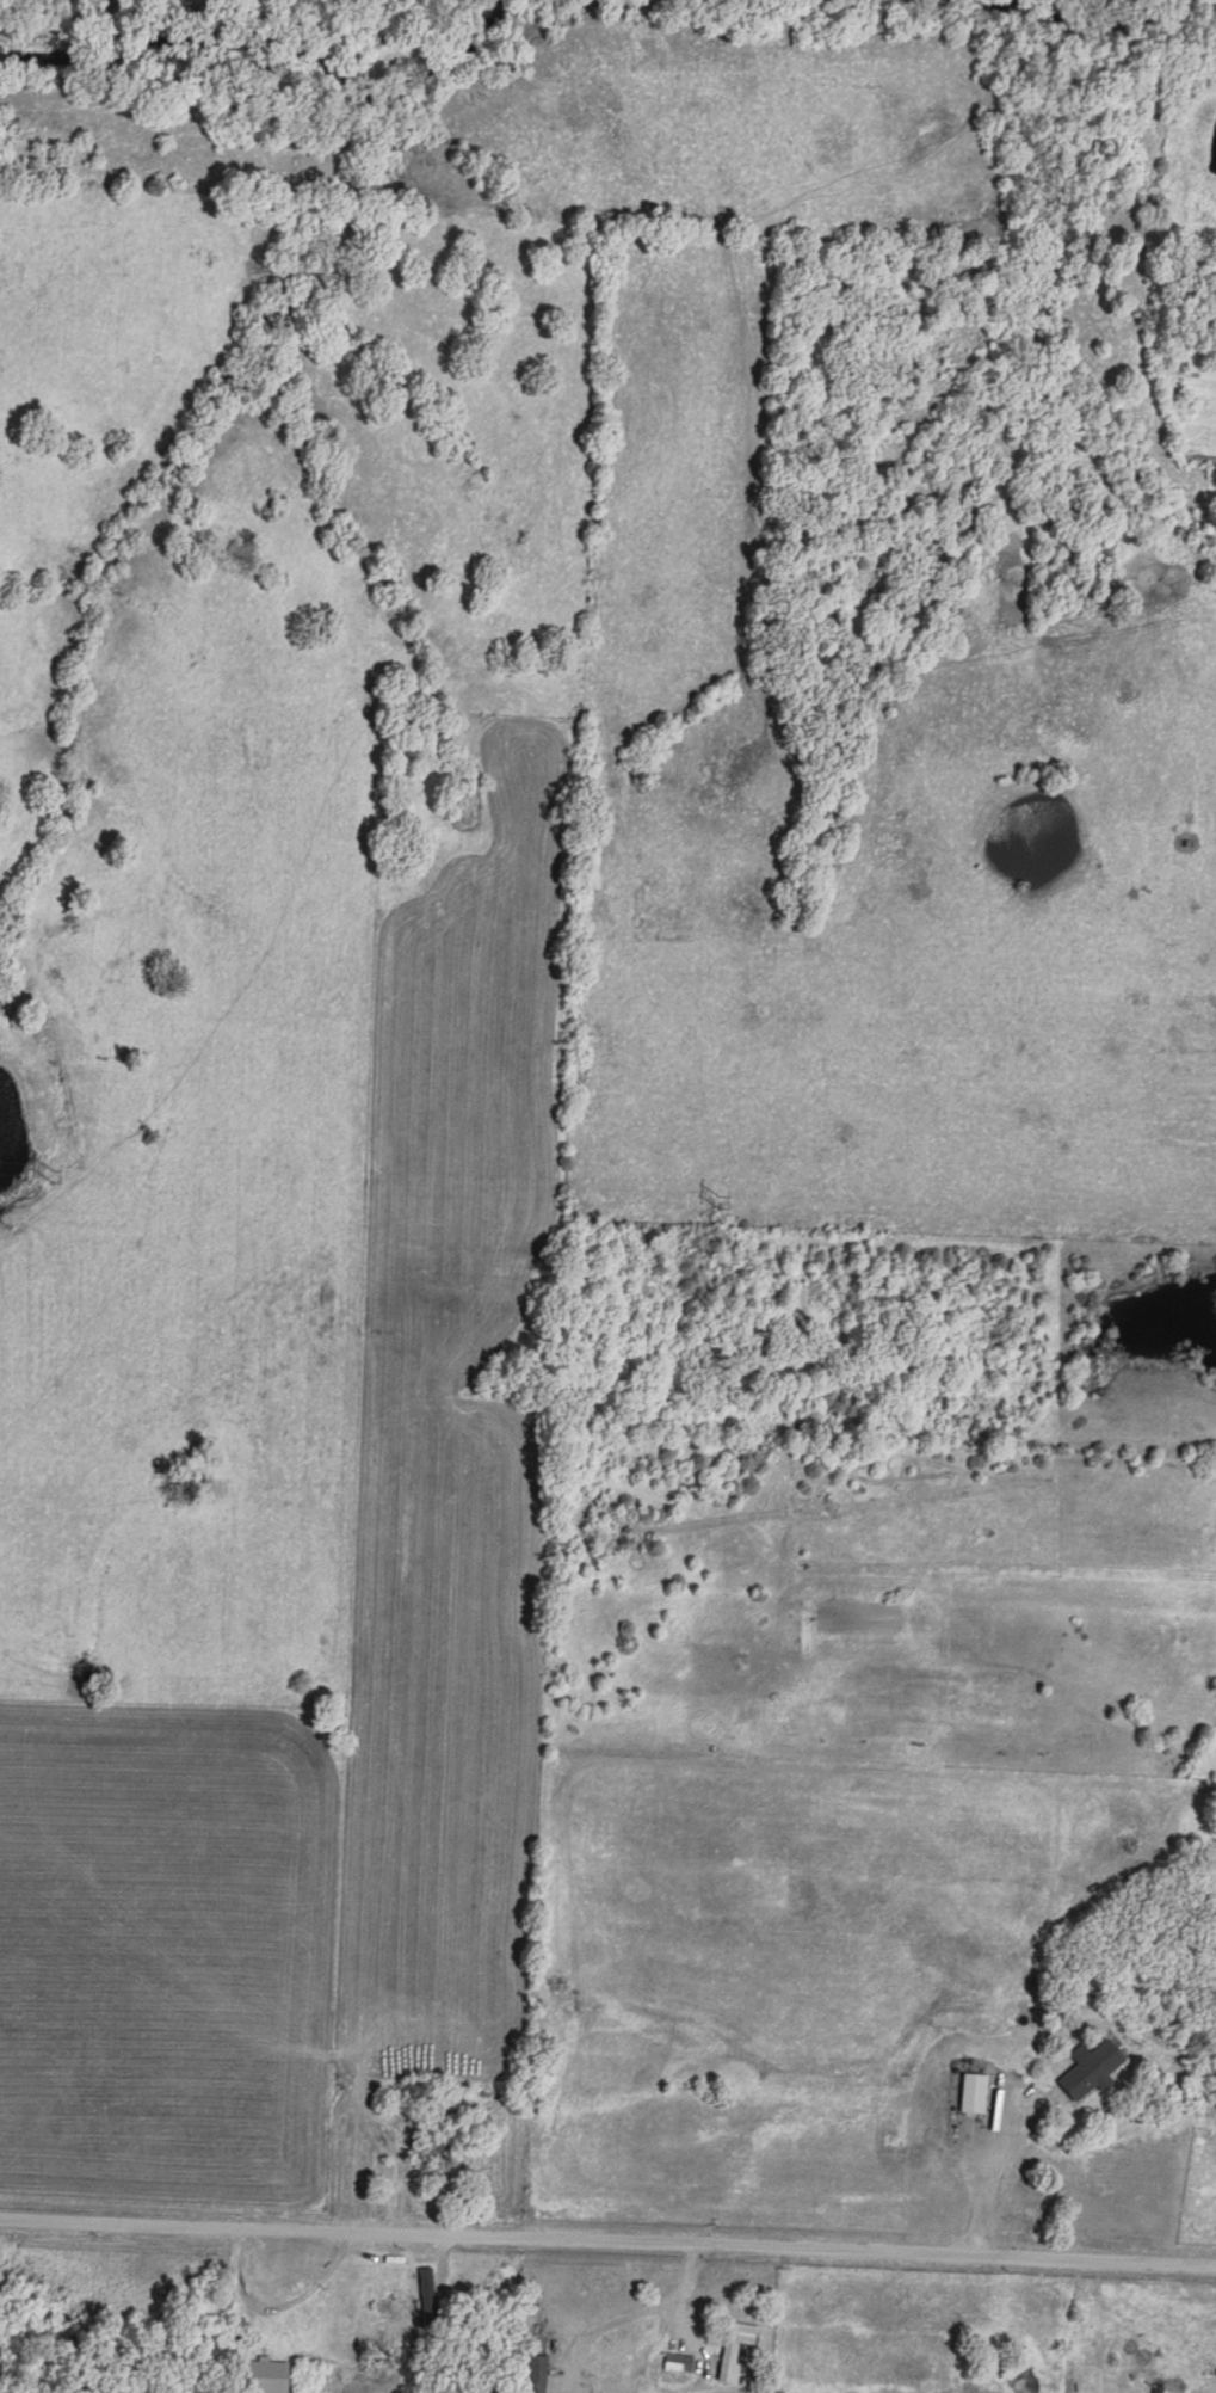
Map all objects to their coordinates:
power tower: (58, 1173)
power tower: (726, 1200)
building: (1092, 2065)
building: (975, 2089)
road: (993, 2169)
road: (338, 2217)
road: (607, 2243)
building: (428, 2293)
building: (736, 2344)
building: (680, 2358)
building: (267, 2373)
building: (533, 2374)

